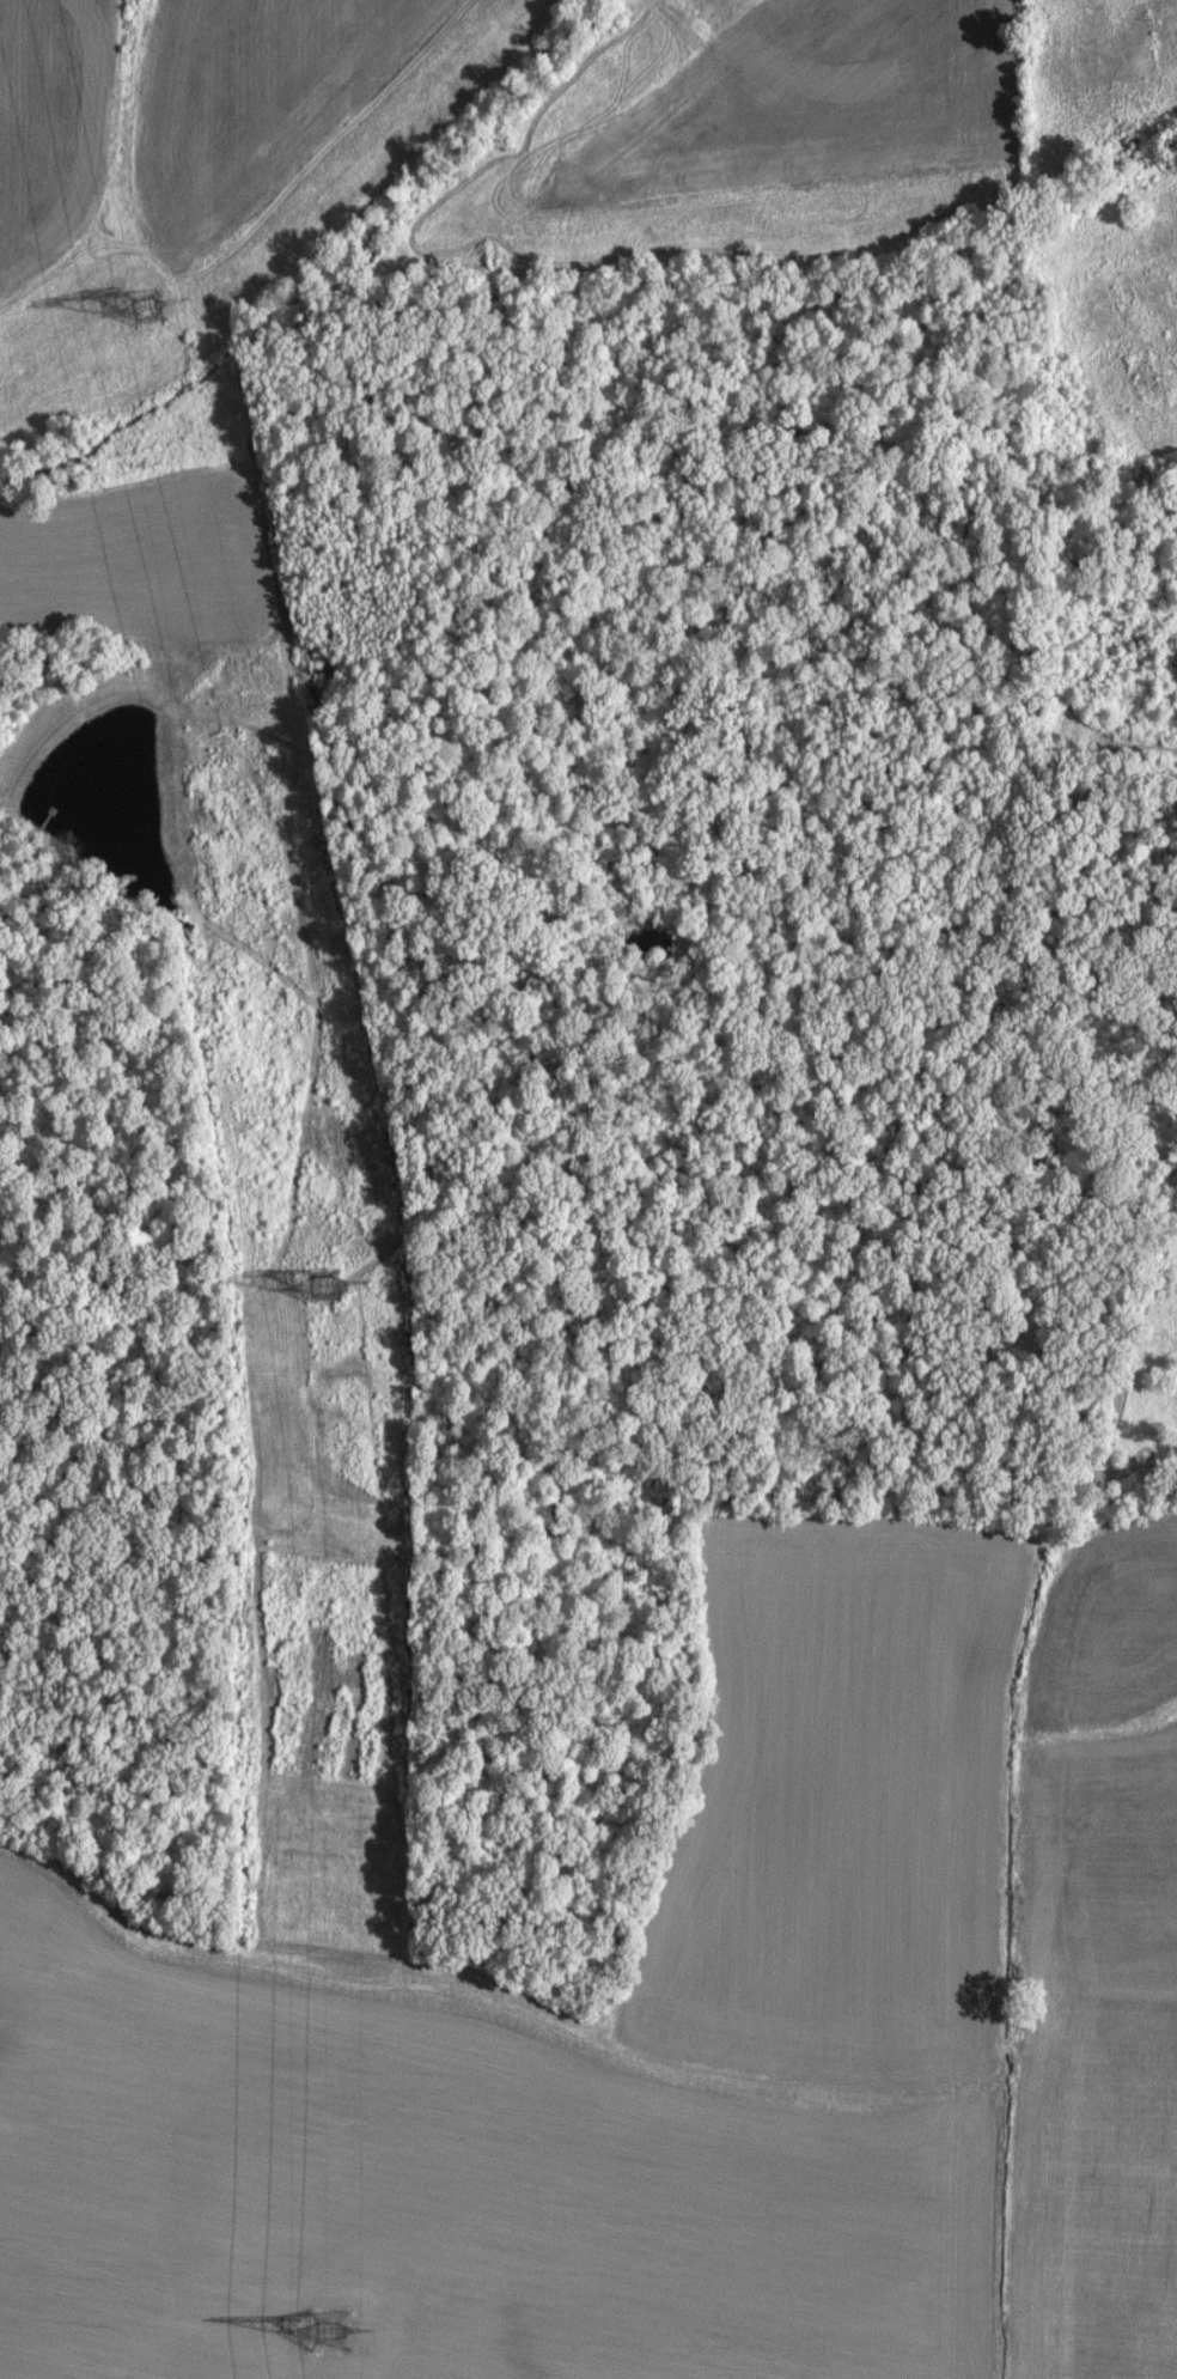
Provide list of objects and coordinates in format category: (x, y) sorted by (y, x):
power tower: (141, 311)
power tower: (316, 1285)
power tower: (328, 2331)

